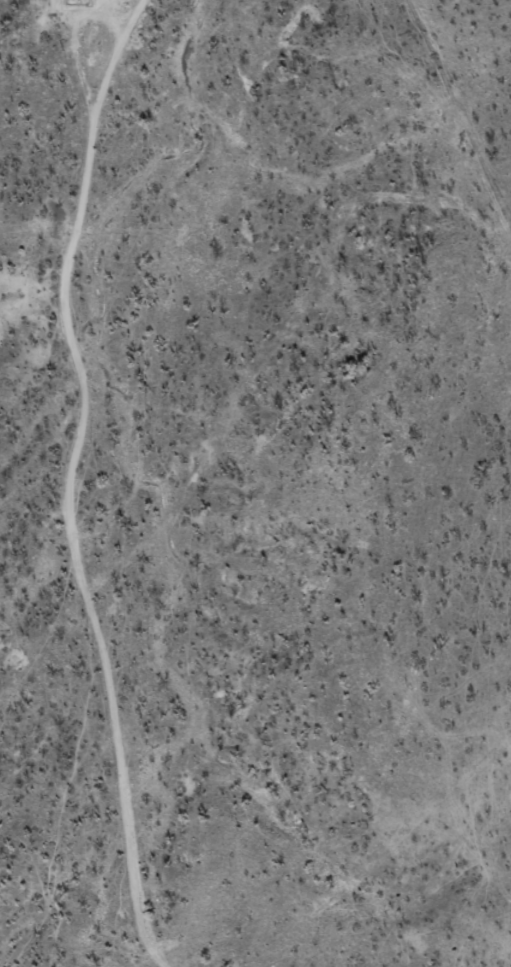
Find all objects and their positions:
road: (90, 491)

